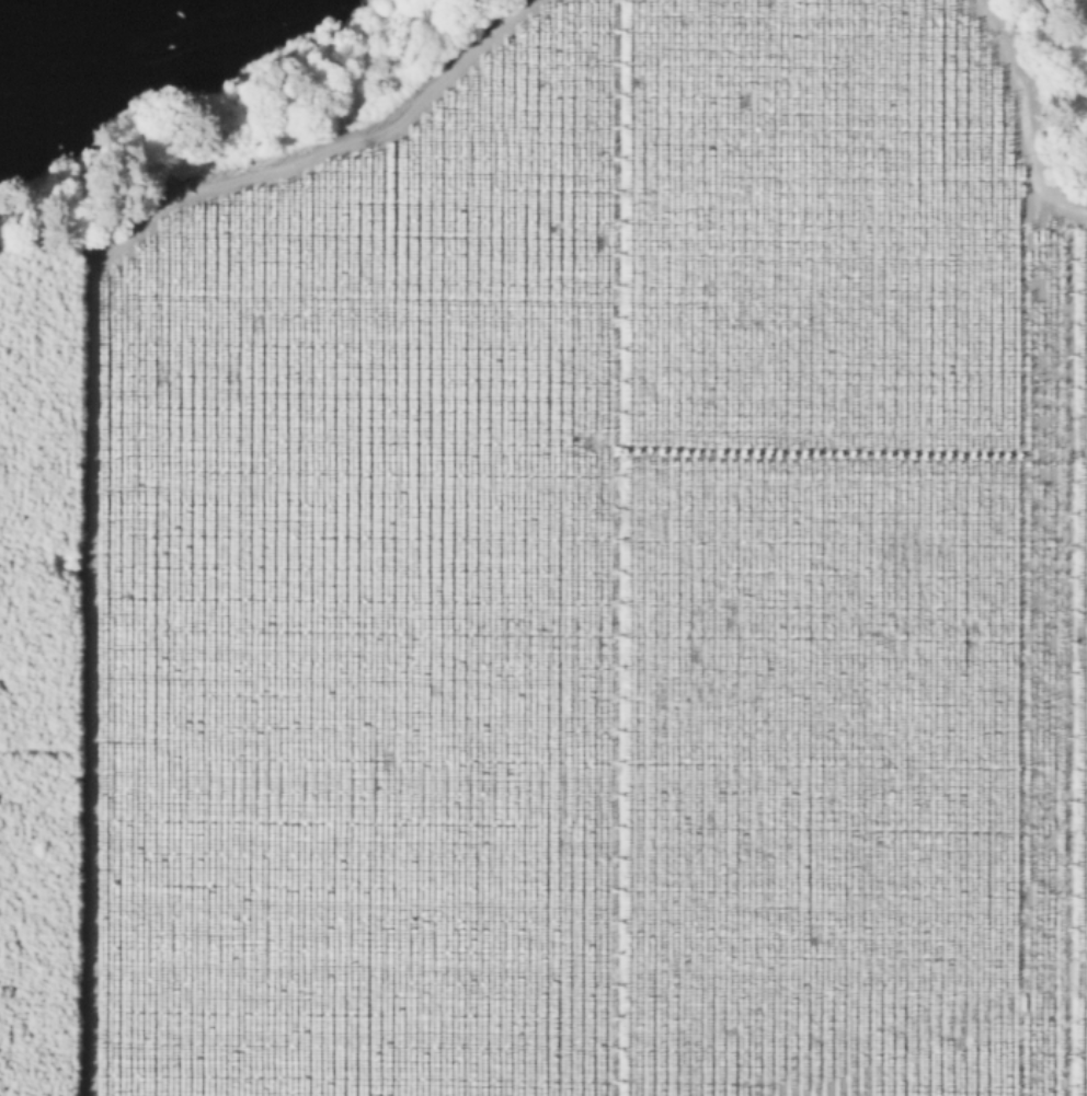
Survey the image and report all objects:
crop: (596, 584)

